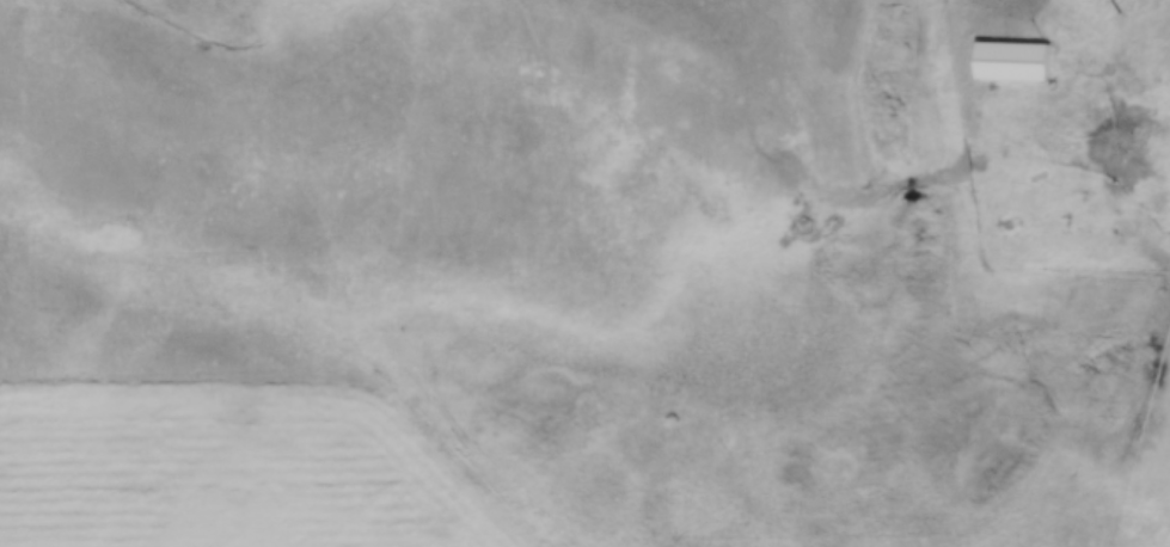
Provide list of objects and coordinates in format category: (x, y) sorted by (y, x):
building: (1017, 62)

